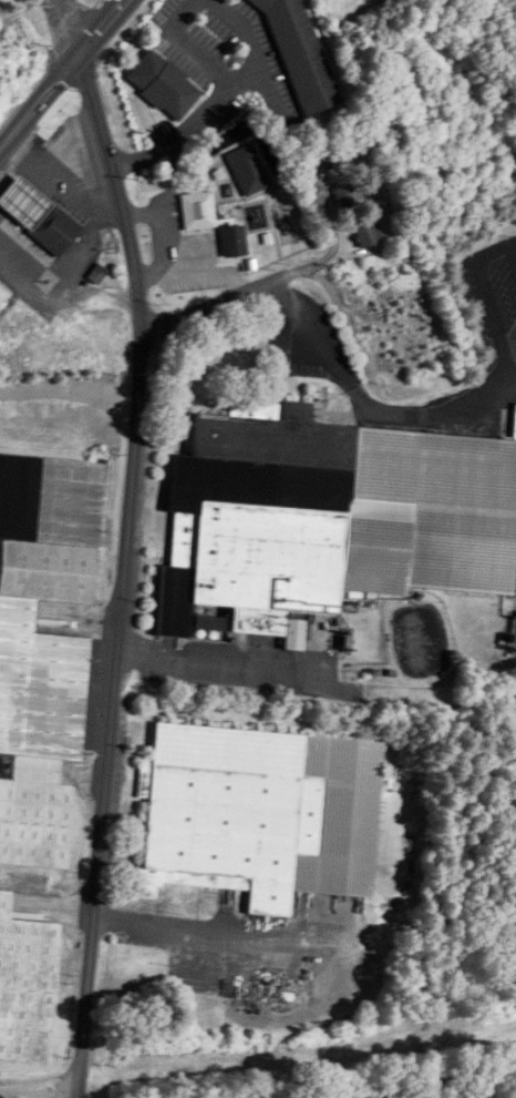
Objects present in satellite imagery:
road: (64, 28)
building: (299, 54)
road: (47, 63)
road: (63, 74)
building: (163, 84)
road: (217, 95)
road: (68, 140)
building: (328, 156)
road: (16, 179)
road: (59, 180)
building: (344, 196)
road: (322, 207)
building: (198, 209)
building: (38, 214)
building: (368, 234)
building: (233, 240)
road: (513, 242)
road: (492, 248)
road: (513, 252)
road: (65, 275)
road: (96, 294)
road: (237, 294)
building: (2, 296)
road: (488, 298)
road: (504, 365)
road: (364, 404)
building: (332, 515)
road: (125, 573)
building: (207, 622)
building: (42, 645)
road: (225, 662)
building: (261, 813)
road: (218, 928)
building: (25, 985)
road: (38, 1079)

